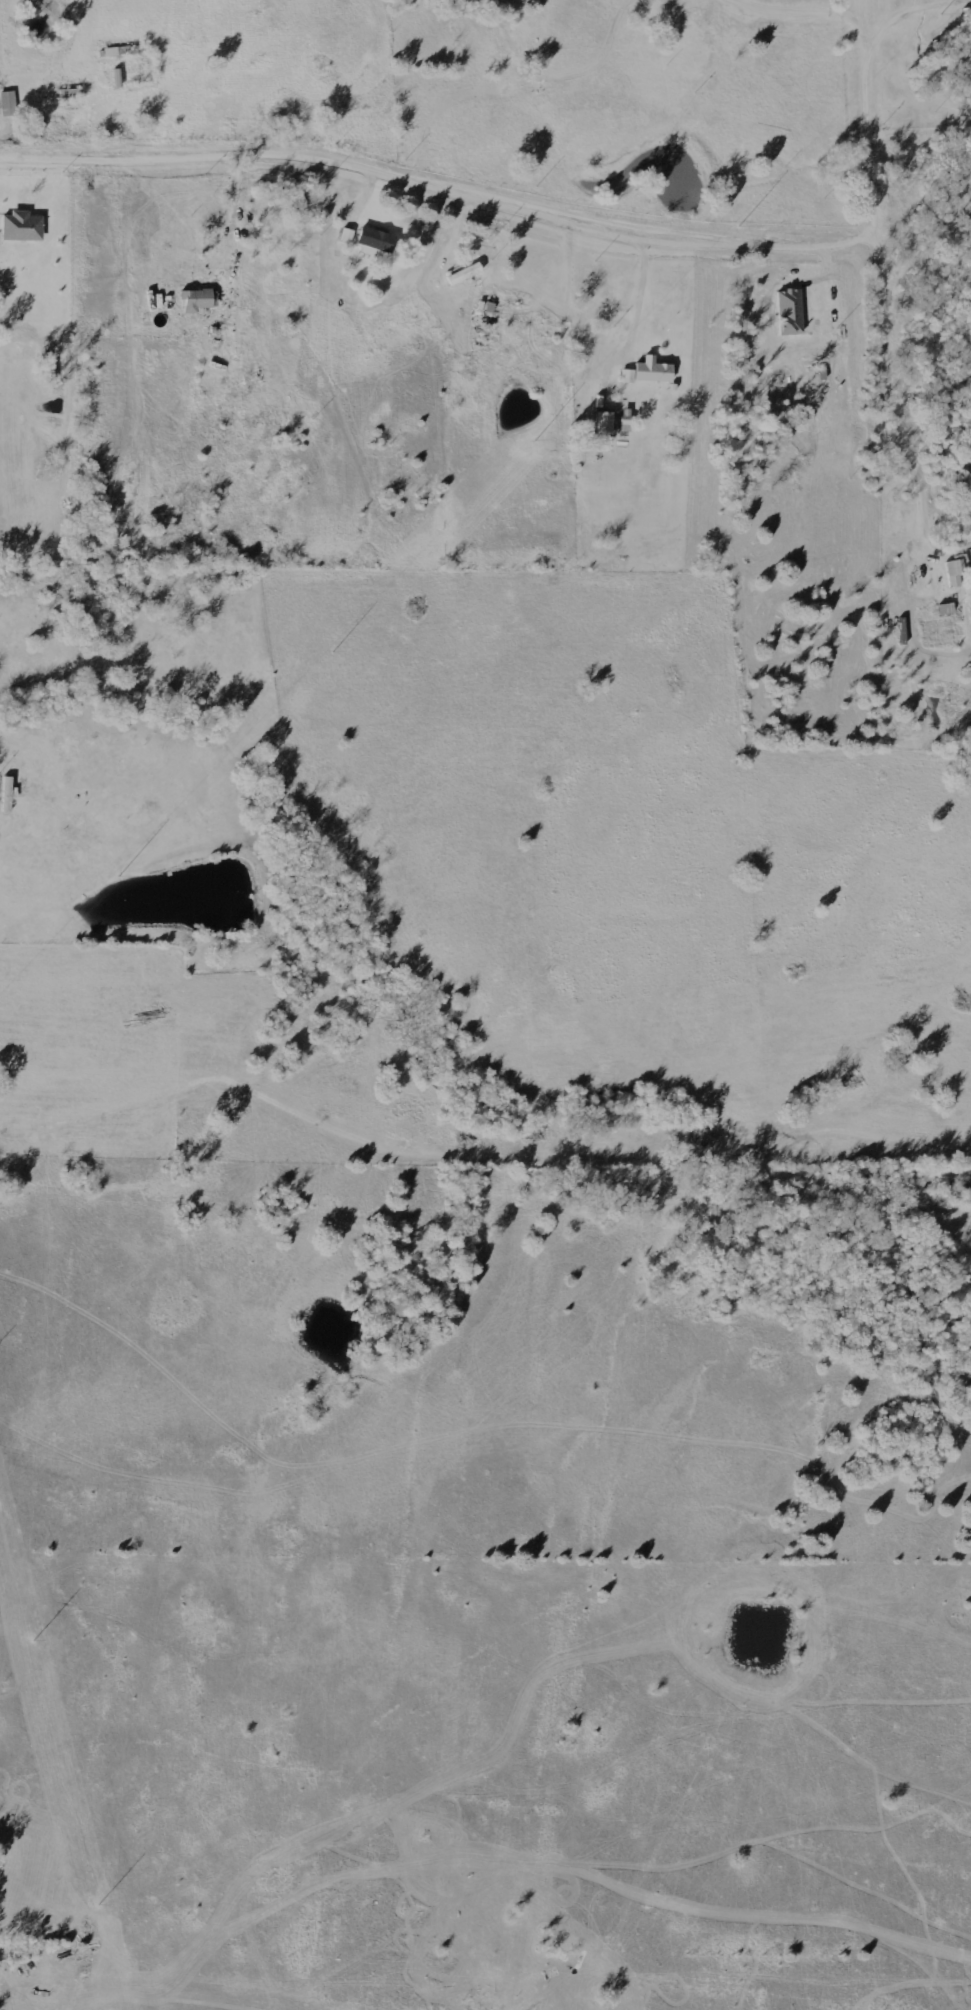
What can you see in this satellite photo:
road: (908, 12)
building: (119, 56)
building: (6, 106)
road: (523, 204)
building: (19, 229)
building: (348, 235)
building: (373, 242)
building: (462, 277)
road: (245, 281)
road: (642, 288)
building: (199, 300)
building: (493, 307)
building: (787, 309)
building: (787, 332)
road: (38, 339)
building: (648, 375)
building: (607, 423)
building: (125, 535)
building: (957, 568)
building: (5, 796)
road: (247, 1157)

